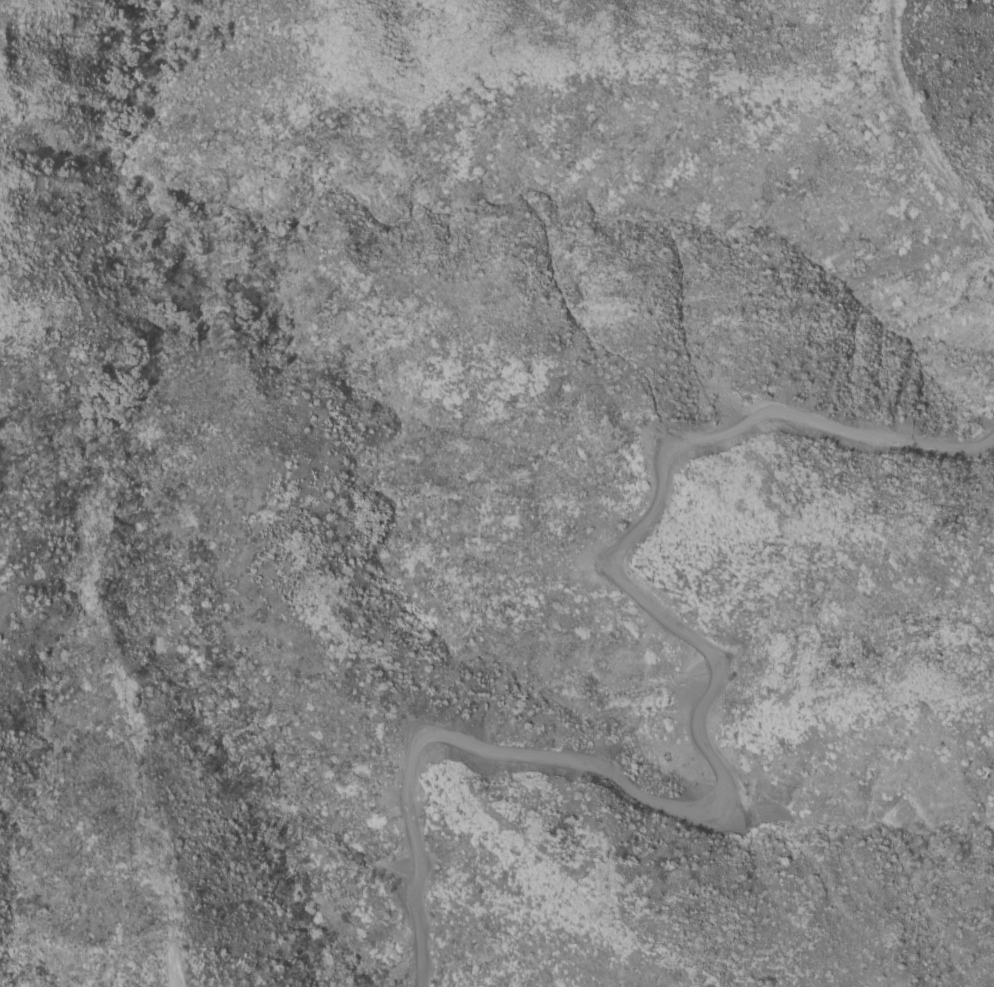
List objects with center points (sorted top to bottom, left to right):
road: (923, 126)
road: (696, 717)

